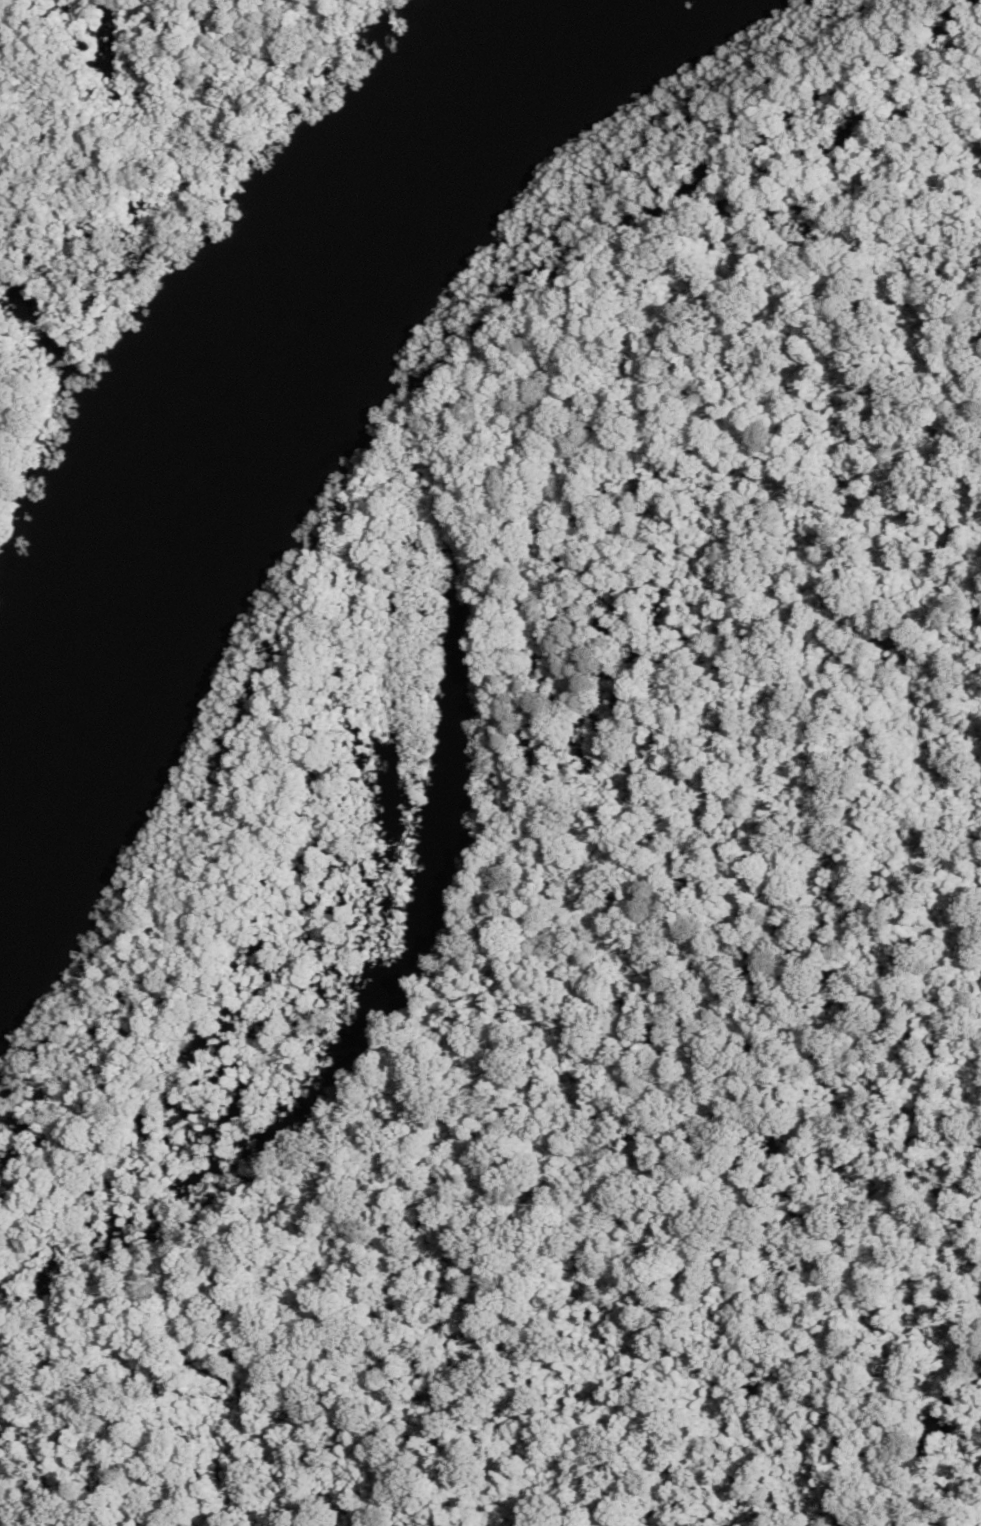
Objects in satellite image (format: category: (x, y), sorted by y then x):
river: (261, 360)

